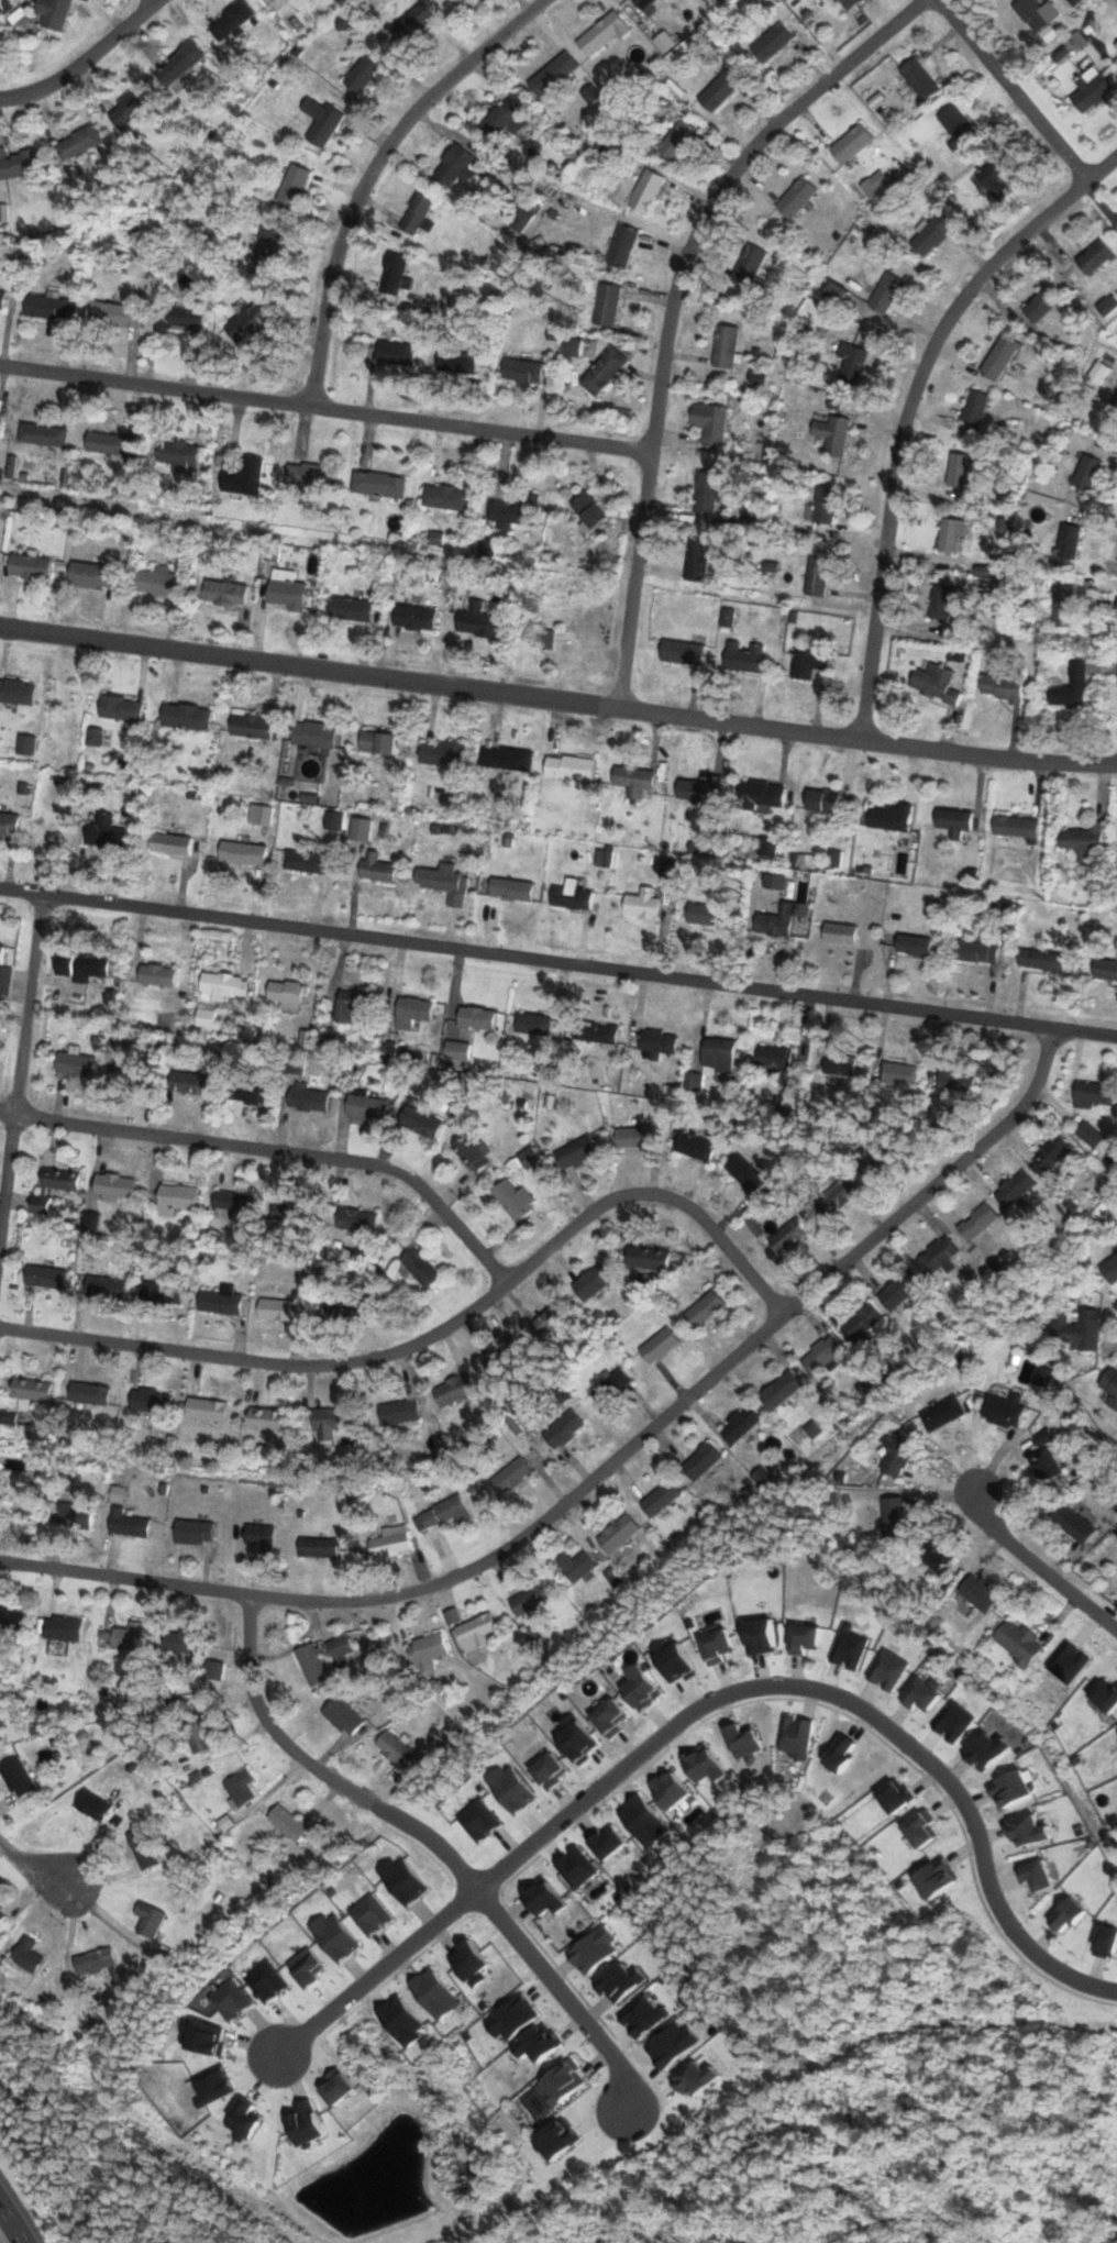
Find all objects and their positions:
road: (154, 0)
building: (643, 3)
building: (849, 3)
building: (53, 12)
building: (1037, 14)
building: (232, 21)
building: (412, 23)
building: (601, 33)
building: (664, 41)
building: (772, 42)
road: (84, 59)
building: (181, 62)
building: (363, 73)
building: (552, 73)
building: (919, 79)
building: (1090, 89)
road: (1010, 90)
building: (716, 92)
building: (134, 107)
building: (499, 119)
building: (321, 121)
building: (956, 124)
building: (676, 137)
building: (79, 142)
building: (851, 143)
building: (21, 164)
building: (455, 165)
road: (369, 172)
building: (995, 179)
building: (875, 183)
building: (292, 185)
building: (645, 190)
building: (795, 198)
building: (416, 212)
building: (517, 219)
building: (930, 235)
building: (267, 245)
building: (622, 245)
building: (1095, 257)
building: (749, 264)
building: (392, 274)
building: (886, 291)
building: (2, 299)
building: (606, 303)
building: (1042, 305)
road: (672, 306)
building: (49, 307)
building: (118, 310)
building: (178, 316)
building: (248, 320)
building: (572, 345)
building: (725, 345)
building: (389, 351)
building: (1000, 356)
building: (456, 362)
building: (851, 363)
building: (521, 369)
building: (604, 371)
building: (1101, 372)
building: (1113, 407)
building: (976, 408)
road: (324, 409)
road: (907, 409)
building: (710, 422)
building: (42, 434)
building: (836, 438)
building: (108, 444)
building: (180, 455)
building: (959, 469)
building: (1086, 472)
building: (247, 474)
building: (306, 474)
building: (378, 484)
building: (708, 493)
building: (445, 497)
building: (825, 504)
building: (516, 509)
building: (588, 509)
building: (951, 534)
building: (1069, 540)
building: (697, 562)
building: (27, 566)
building: (92, 574)
building: (817, 575)
building: (157, 581)
building: (285, 589)
building: (224, 592)
building: (941, 601)
building: (1063, 604)
building: (349, 608)
building: (414, 617)
building: (478, 620)
building: (681, 652)
building: (741, 656)
building: (809, 662)
building: (936, 683)
building: (1074, 685)
building: (1002, 686)
building: (16, 690)
road: (557, 700)
building: (120, 707)
building: (186, 716)
building: (251, 725)
building: (313, 734)
building: (377, 742)
building: (25, 744)
building: (442, 752)
building: (506, 758)
building: (569, 766)
building: (637, 780)
building: (699, 789)
building: (762, 792)
building: (822, 799)
building: (891, 816)
building: (958, 821)
building: (8, 822)
building: (1016, 826)
building: (360, 828)
building: (107, 829)
building: (1084, 839)
building: (169, 843)
building: (242, 852)
building: (309, 861)
building: (378, 868)
building: (511, 888)
building: (572, 897)
building: (642, 904)
building: (704, 913)
building: (779, 919)
building: (840, 933)
building: (914, 944)
building: (980, 950)
building: (1, 952)
building: (1043, 960)
road: (558, 962)
building: (82, 964)
building: (1107, 970)
building: (156, 975)
building: (224, 984)
building: (284, 992)
building: (351, 1003)
building: (411, 1012)
building: (476, 1018)
building: (532, 1024)
building: (598, 1034)
building: (654, 1042)
building: (456, 1050)
building: (719, 1050)
building: (774, 1057)
road: (20, 1058)
building: (841, 1063)
building: (75, 1064)
building: (898, 1072)
building: (955, 1082)
building: (189, 1083)
building: (246, 1091)
building: (1093, 1094)
building: (306, 1097)
building: (366, 1104)
building: (420, 1123)
building: (634, 1135)
building: (1088, 1135)
road: (275, 1147)
building: (696, 1147)
building: (576, 1151)
building: (471, 1153)
building: (1051, 1154)
building: (876, 1163)
building: (745, 1172)
building: (113, 1184)
building: (53, 1186)
building: (1015, 1189)
building: (834, 1195)
building: (176, 1198)
building: (511, 1198)
building: (231, 1203)
building: (290, 1211)
building: (355, 1219)
building: (977, 1220)
building: (788, 1236)
building: (937, 1255)
building: (648, 1258)
building: (420, 1267)
building: (1110, 1270)
building: (45, 1277)
building: (594, 1280)
building: (106, 1286)
building: (899, 1290)
building: (157, 1293)
building: (220, 1300)
building: (278, 1308)
building: (705, 1308)
building: (318, 1311)
building: (548, 1321)
building: (861, 1323)
building: (1076, 1330)
road: (435, 1332)
building: (659, 1345)
building: (820, 1355)
building: (500, 1357)
building: (1110, 1385)
building: (610, 1386)
building: (25, 1388)
building: (452, 1390)
building: (781, 1390)
building: (88, 1392)
building: (150, 1400)
building: (206, 1408)
building: (1004, 1408)
building: (398, 1413)
building: (942, 1413)
building: (8, 1417)
building: (267, 1418)
building: (328, 1422)
building: (739, 1424)
building: (563, 1429)
building: (897, 1455)
building: (700, 1460)
building: (1043, 1466)
road: (600, 1471)
building: (512, 1473)
building: (660, 1498)
building: (442, 1513)
building: (68, 1516)
building: (893, 1517)
building: (128, 1523)
building: (1073, 1523)
building: (193, 1531)
building: (617, 1533)
building: (259, 1537)
building: (389, 1545)
building: (317, 1547)
building: (937, 1557)
building: (575, 1565)
road: (1037, 1567)
building: (976, 1592)
building: (529, 1599)
building: (10, 1617)
building: (63, 1628)
building: (474, 1633)
building: (128, 1636)
building: (191, 1643)
building: (1017, 1643)
building: (339, 1648)
building: (425, 1648)
building: (310, 1665)
building: (215, 1670)
road: (710, 1700)
building: (344, 1715)
building: (1, 1716)
road: (265, 1723)
building: (395, 1749)
building: (16, 1778)
building: (240, 1787)
building: (90, 1803)
building: (287, 1823)
building: (141, 1848)
road: (31, 1869)
building: (2, 1913)
building: (147, 1919)
road: (519, 1942)
building: (25, 1955)
building: (93, 1962)
road: (11, 2221)

